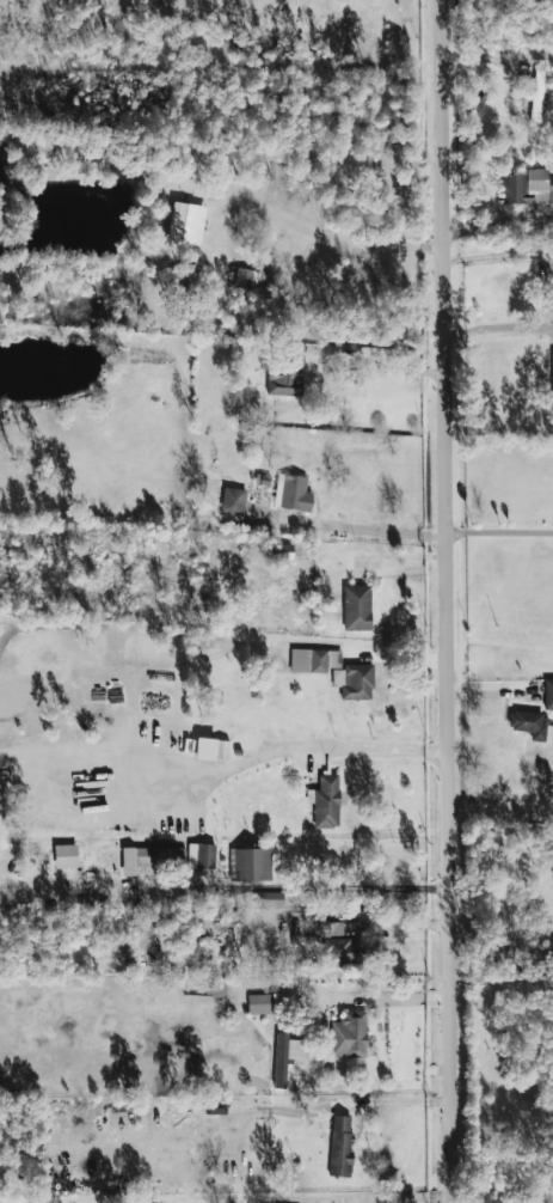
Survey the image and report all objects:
building: (537, 98)
building: (527, 187)
building: (251, 279)
road: (499, 326)
building: (552, 372)
road: (376, 374)
building: (285, 378)
building: (291, 494)
building: (232, 502)
road: (360, 527)
road: (499, 532)
building: (282, 551)
road: (447, 601)
building: (356, 607)
building: (312, 661)
building: (354, 682)
building: (548, 694)
building: (211, 750)
road: (328, 753)
building: (325, 801)
building: (64, 856)
building: (201, 856)
building: (156, 862)
building: (252, 865)
road: (279, 886)
road: (436, 886)
building: (269, 899)
building: (337, 944)
building: (216, 990)
building: (265, 1004)
road: (220, 1012)
building: (349, 1036)
building: (285, 1057)
road: (345, 1111)
building: (340, 1146)

